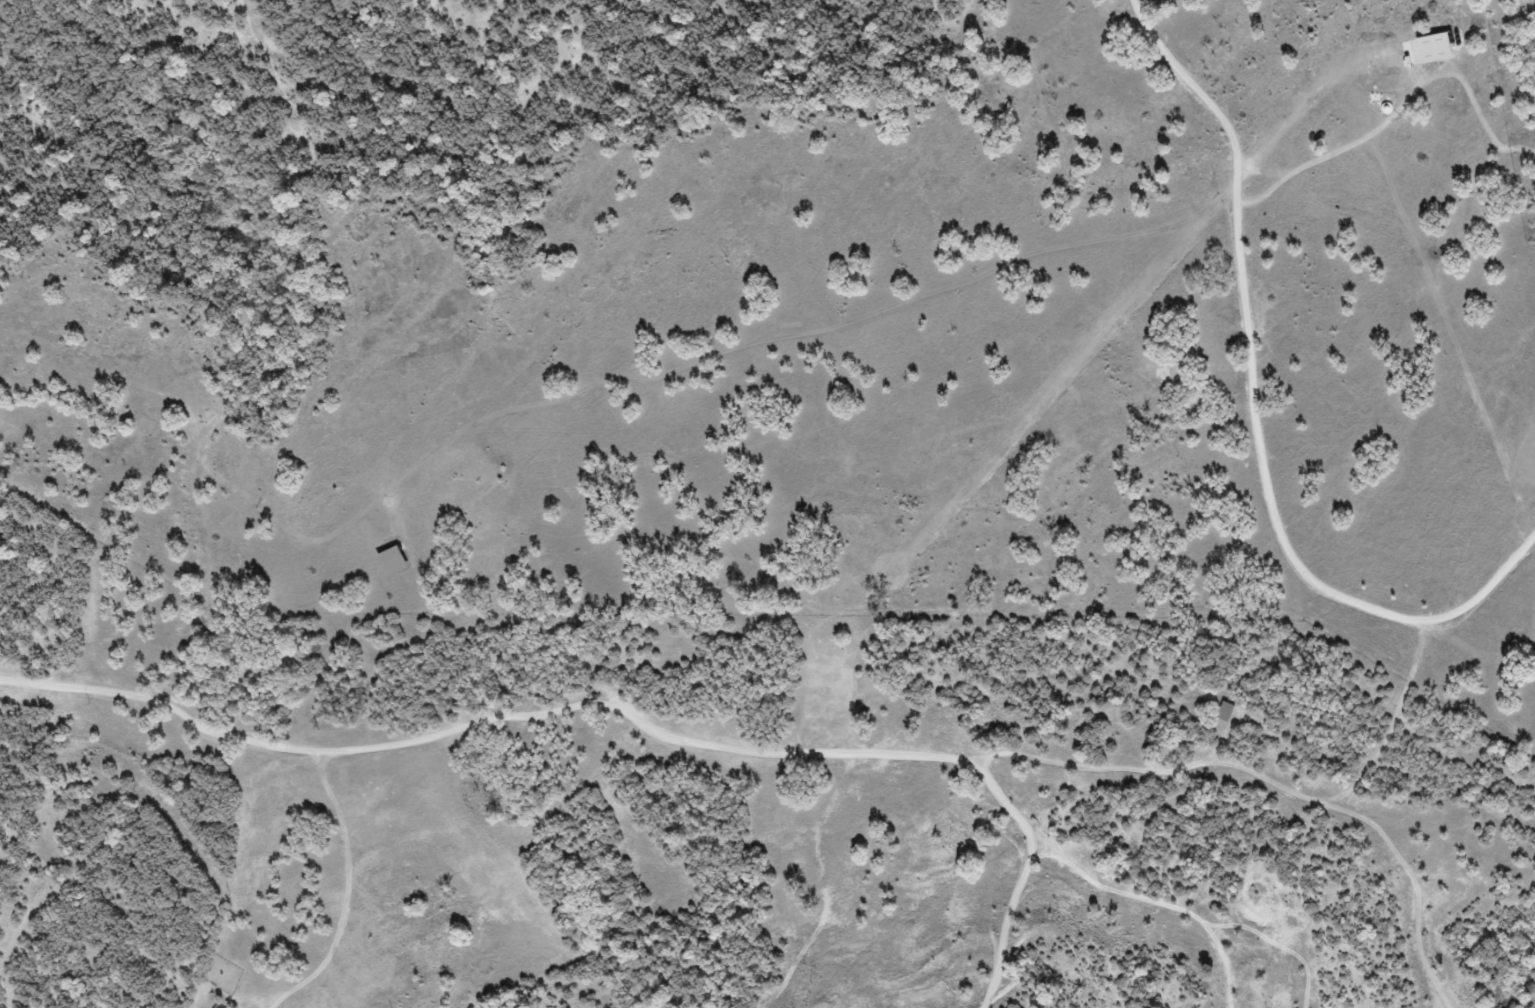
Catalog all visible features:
building: (1423, 55)
road: (1398, 114)
road: (1255, 413)
building: (383, 565)
building: (1215, 717)
road: (220, 731)

